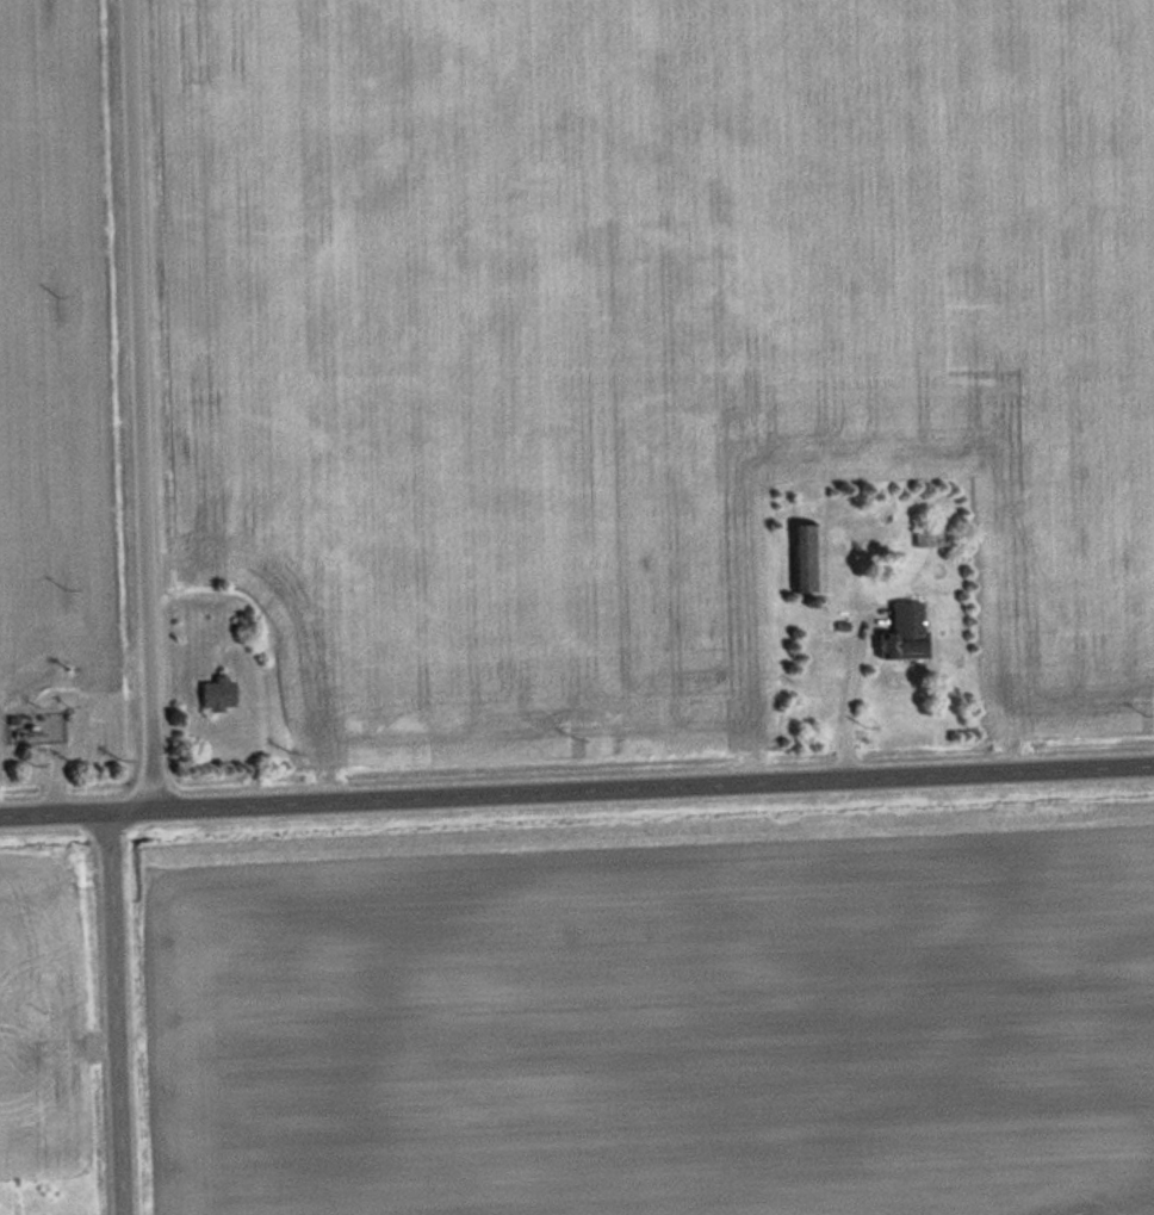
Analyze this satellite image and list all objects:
road: (142, 403)
building: (939, 537)
building: (811, 557)
building: (906, 631)
building: (219, 693)
road: (653, 785)
road: (131, 808)
road: (54, 811)
road: (114, 1012)

